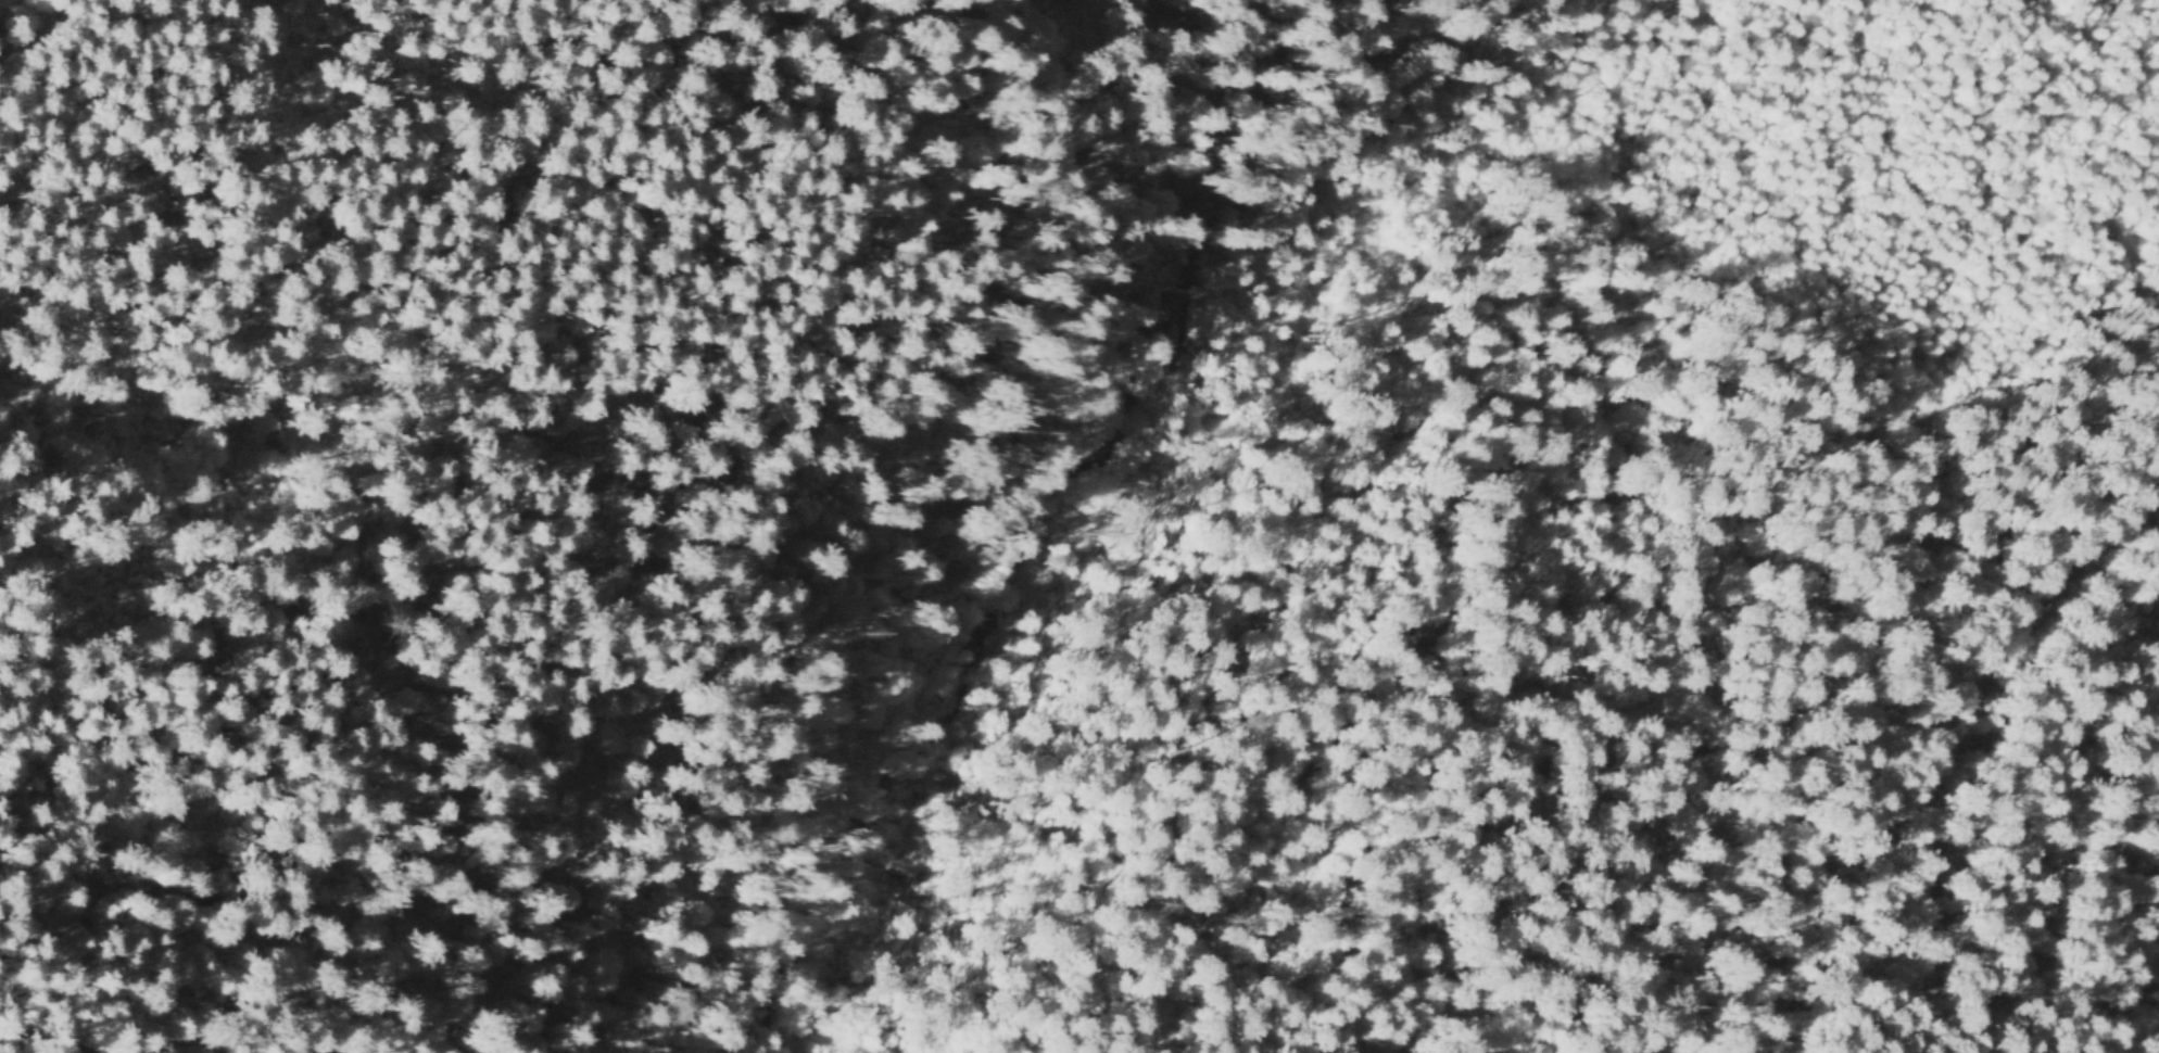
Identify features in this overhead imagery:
road: (1932, 771)

